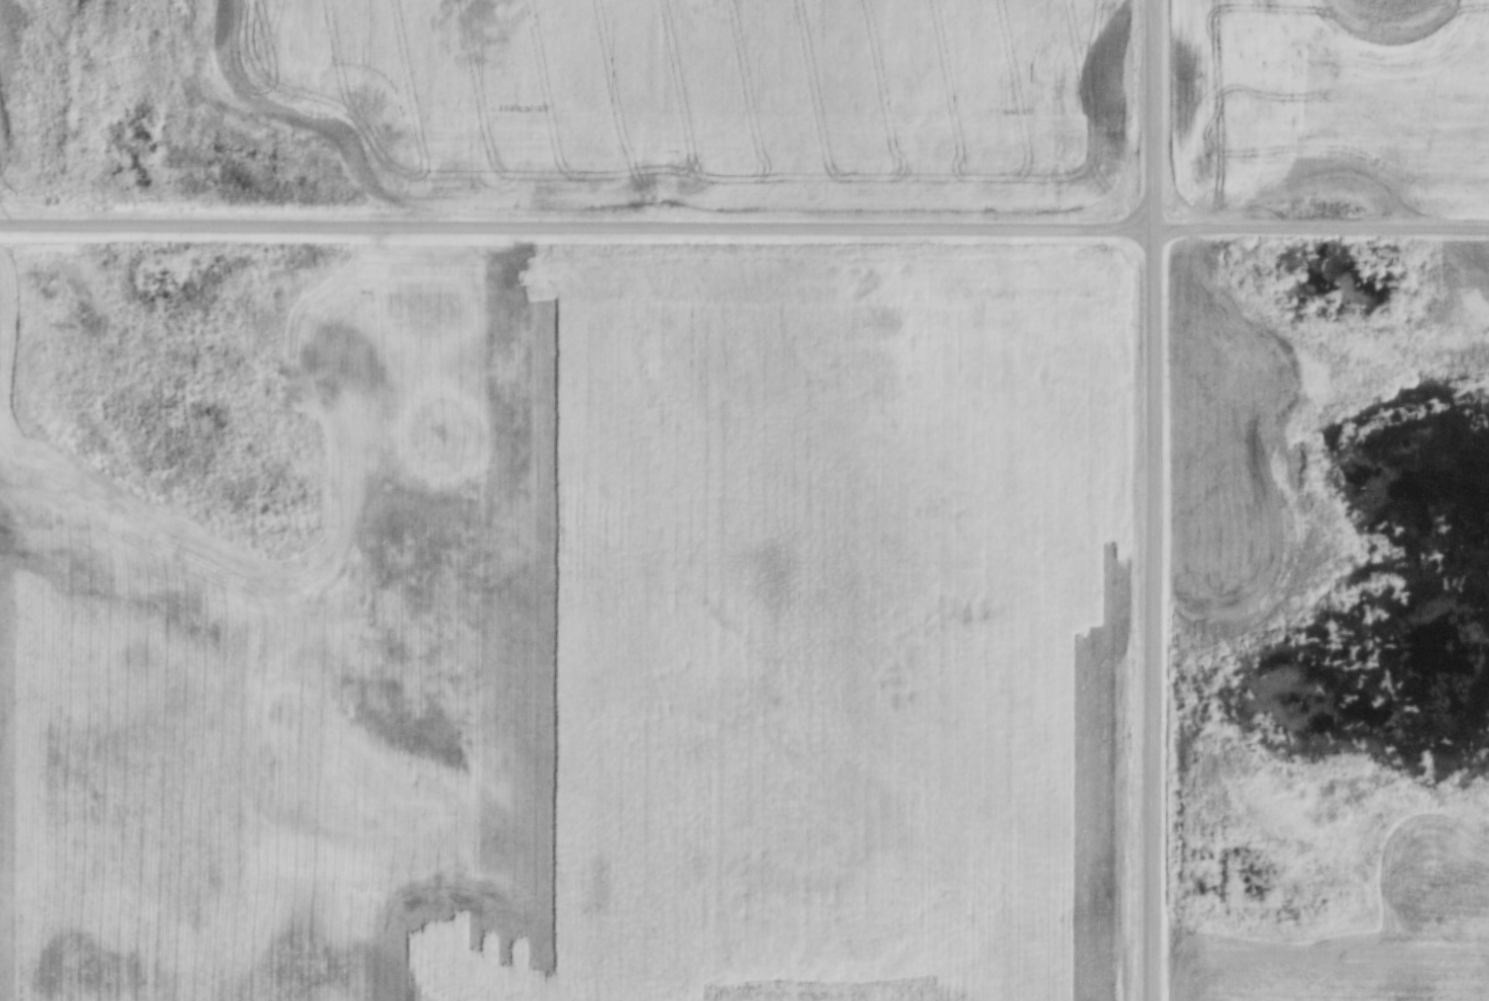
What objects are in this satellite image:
road: (744, 231)
road: (1156, 500)

